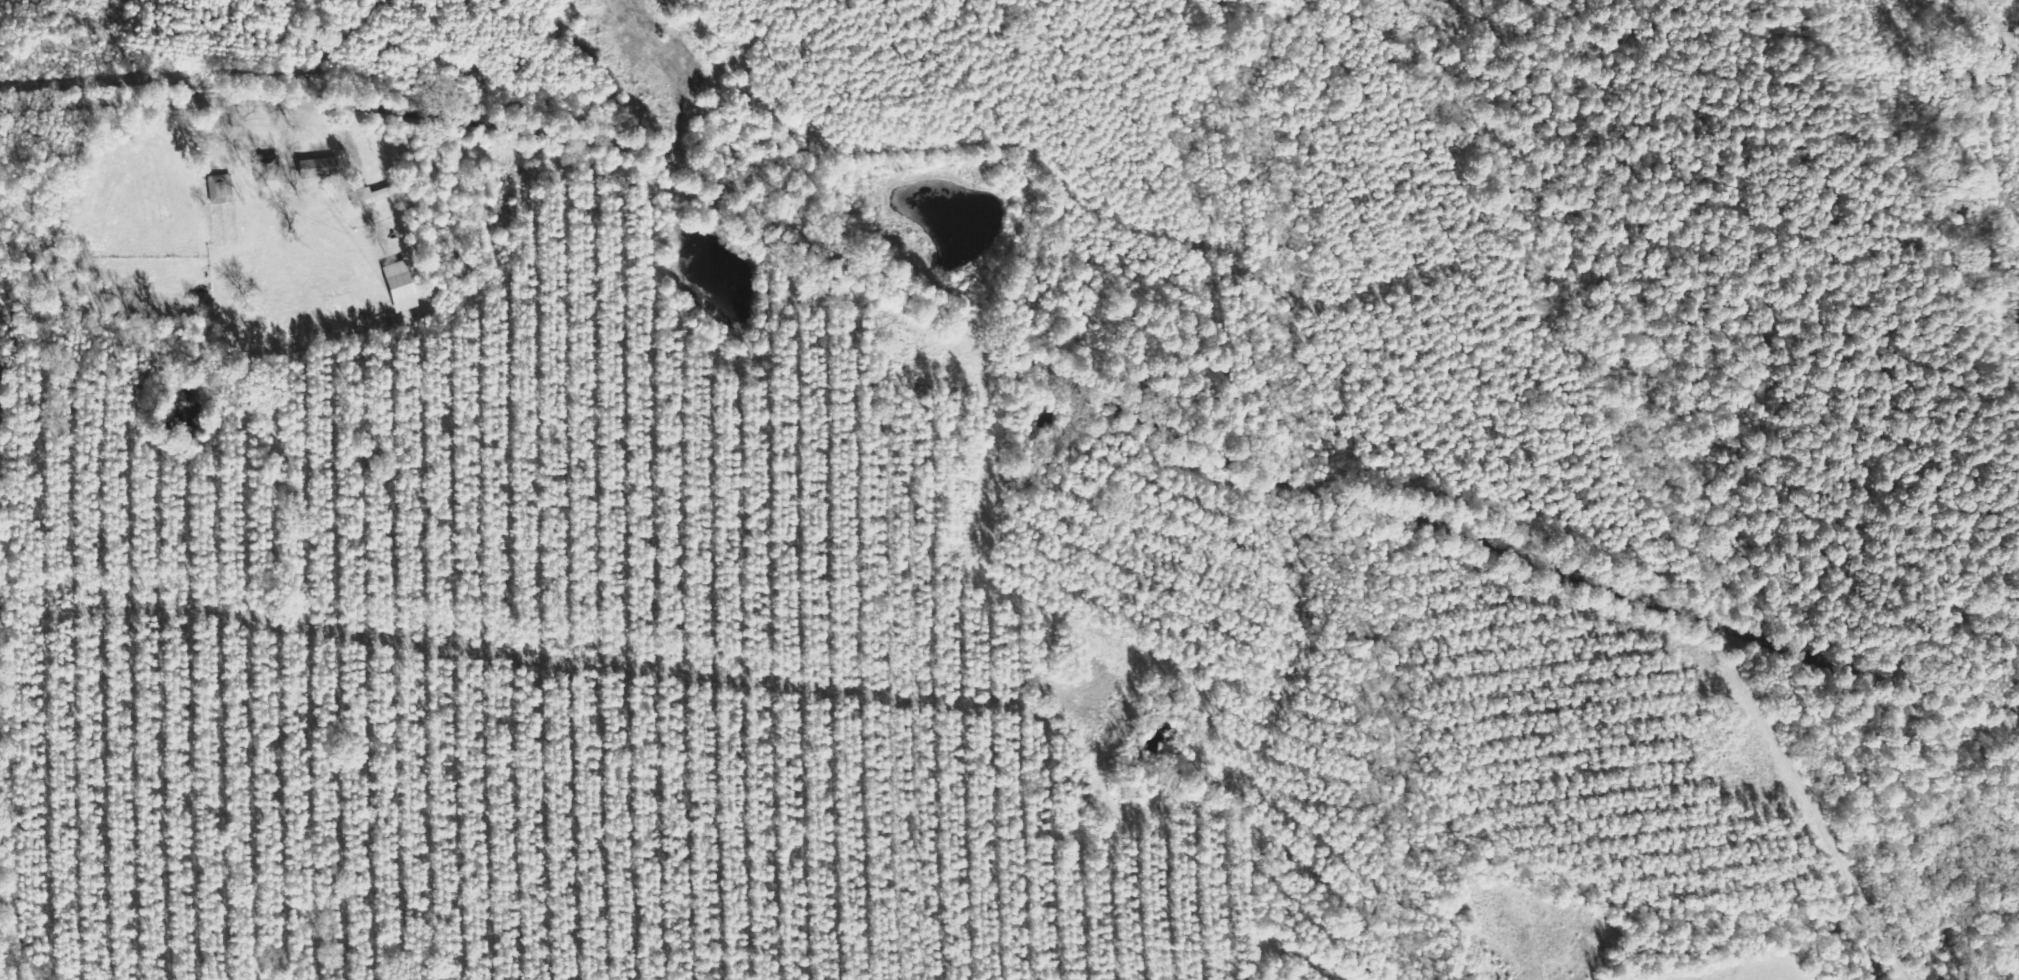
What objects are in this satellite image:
building: (321, 167)
building: (222, 188)
building: (371, 196)
building: (403, 286)
road: (1011, 363)

